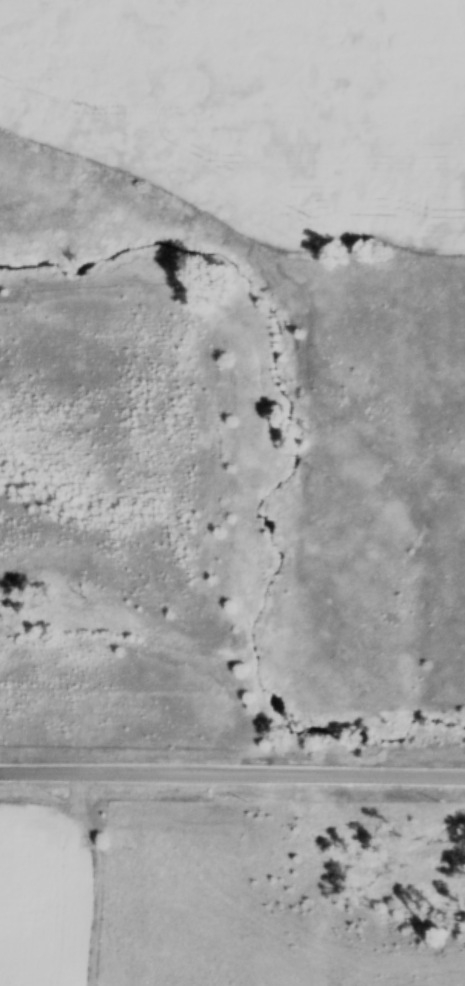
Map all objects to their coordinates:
road: (232, 769)

